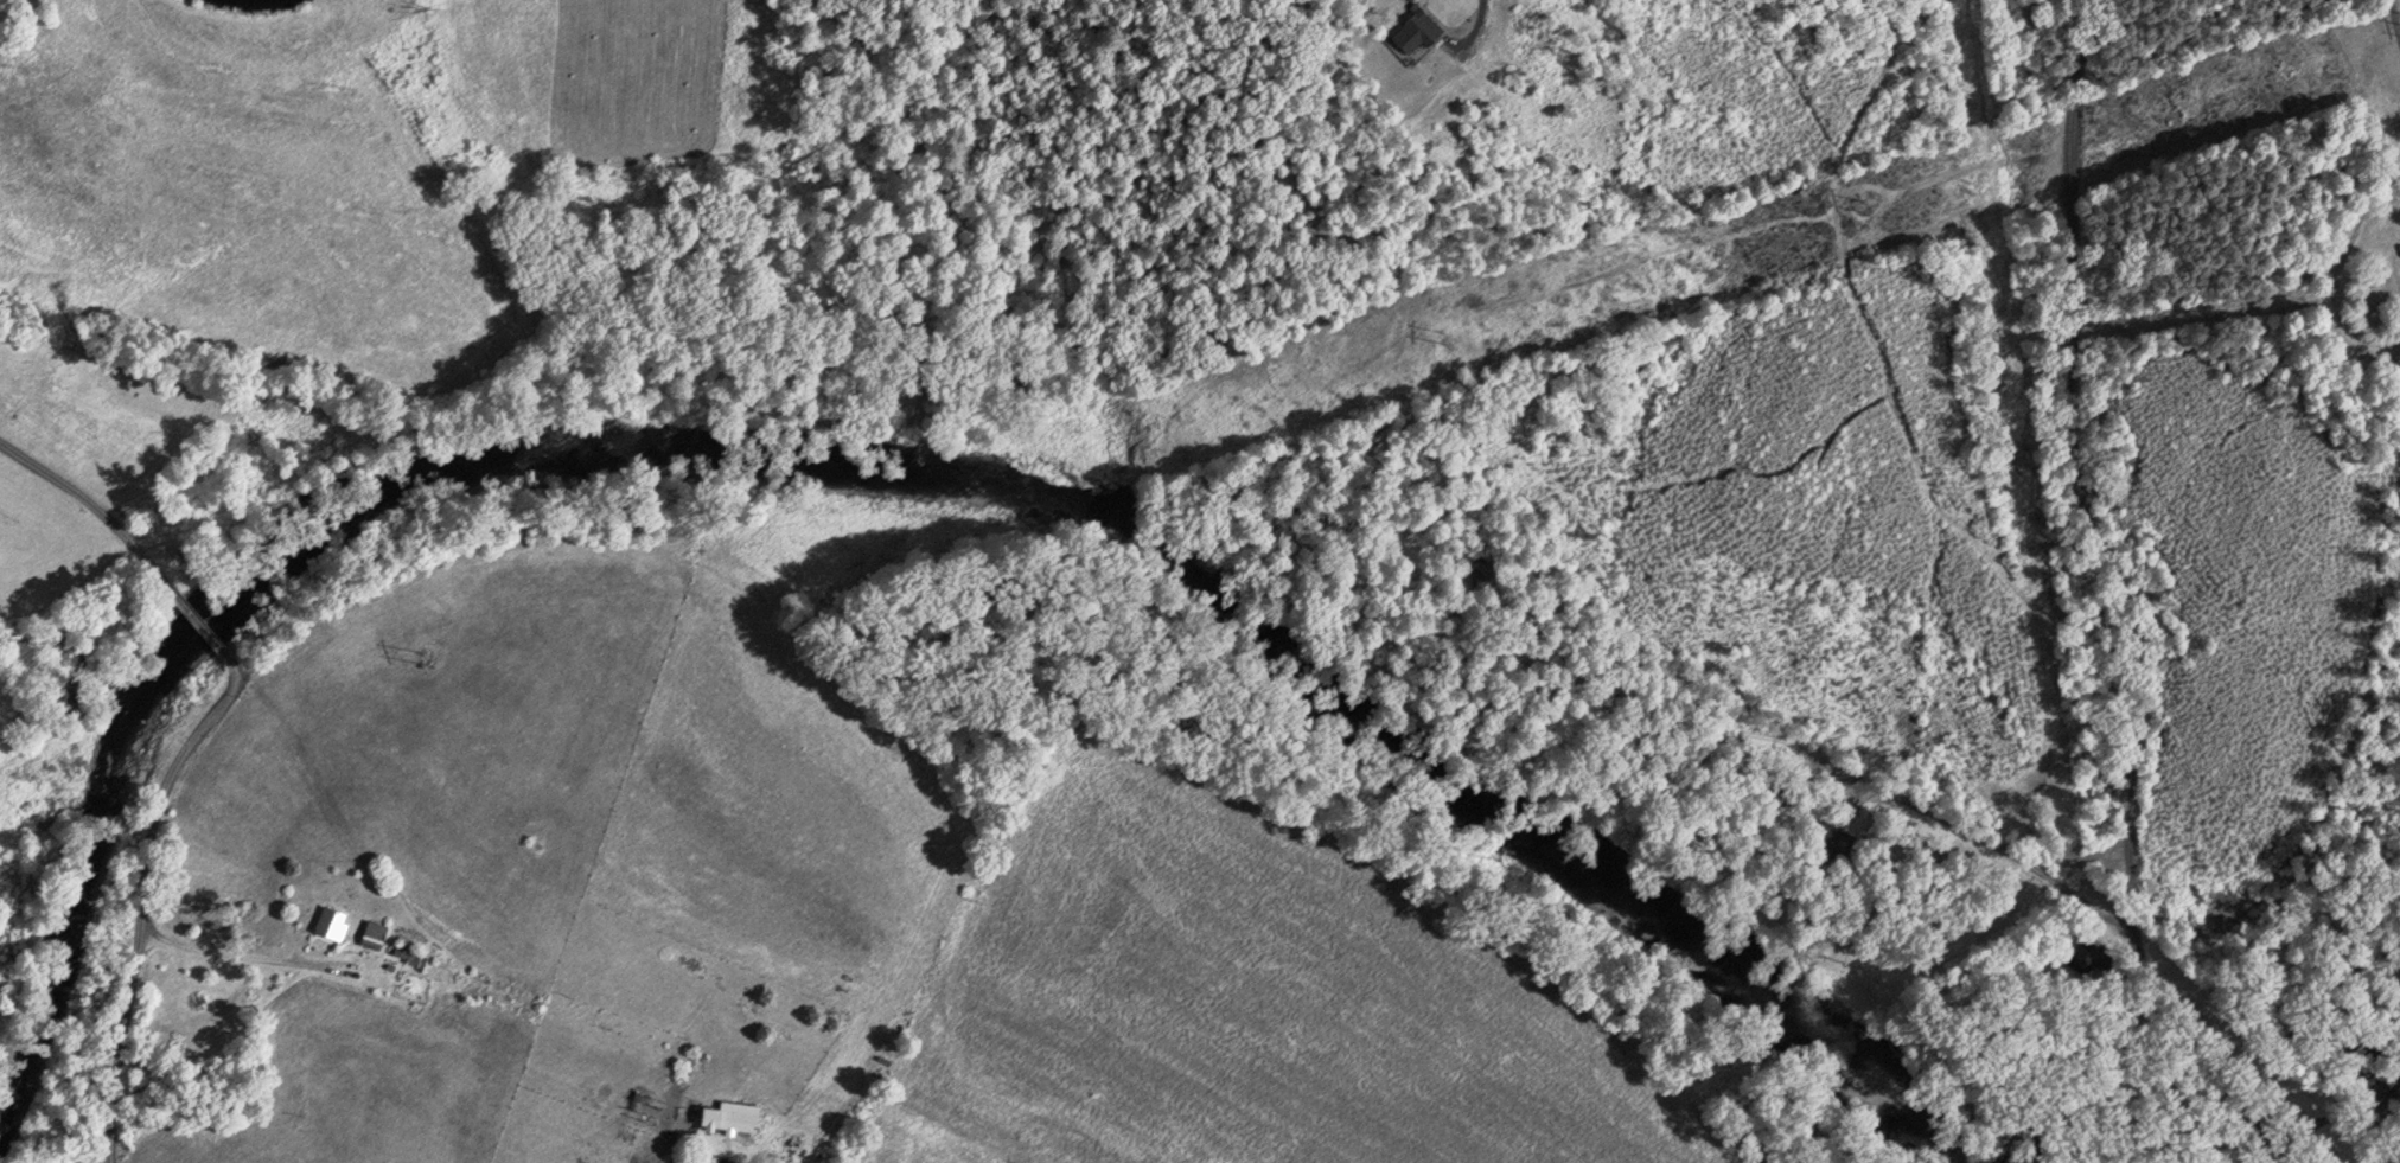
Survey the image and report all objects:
road: (2394, 19)
road: (1475, 26)
building: (2399, 243)
river: (911, 439)
road: (100, 518)
road: (2123, 598)
road: (206, 634)
building: (1830, 835)
road: (143, 901)
building: (327, 920)
building: (371, 932)
road: (236, 953)
building: (2088, 956)
building: (727, 1116)

